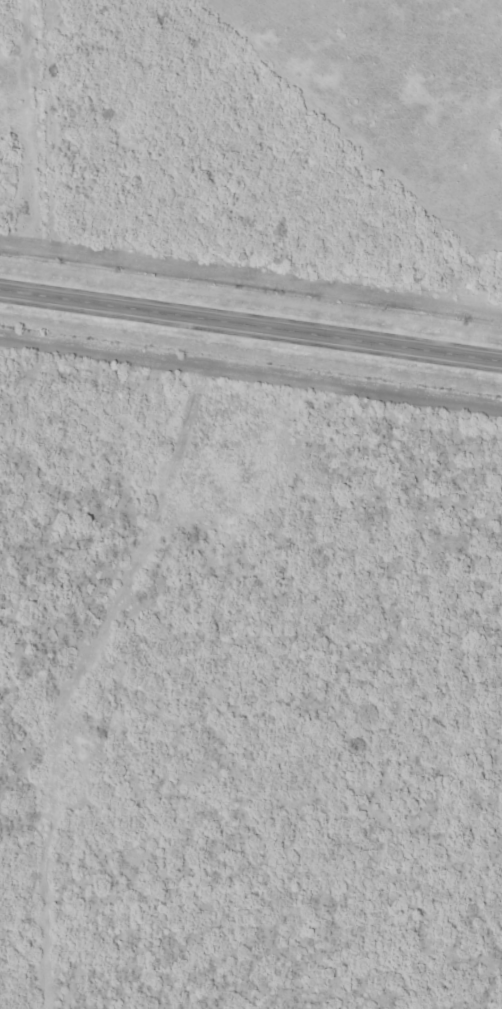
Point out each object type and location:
road: (250, 334)

